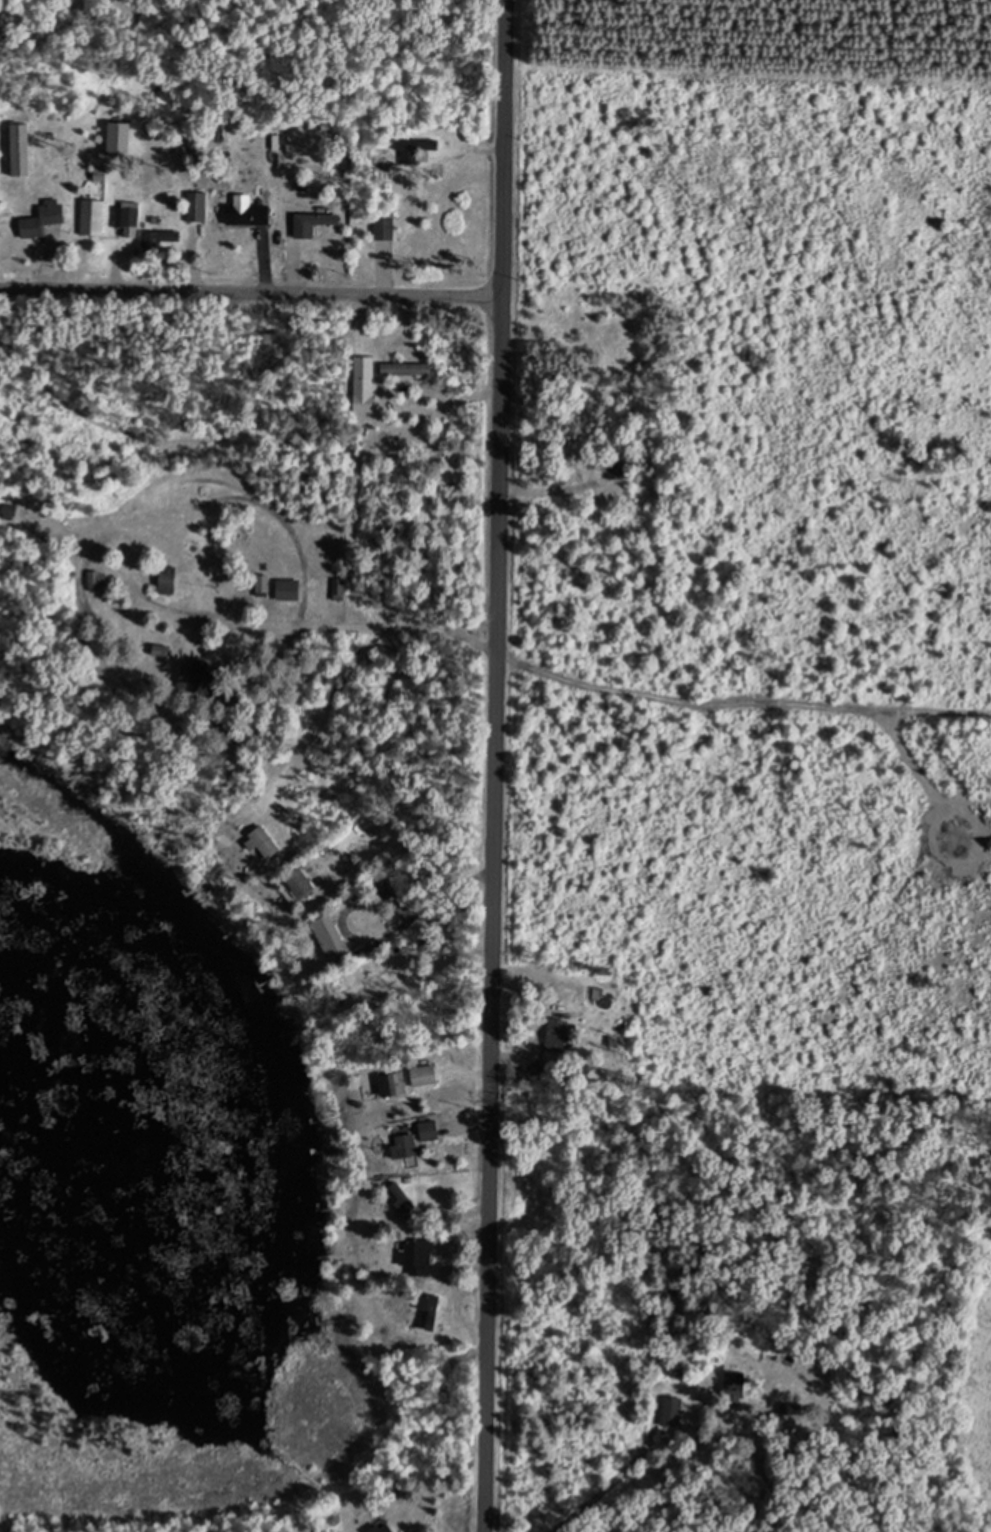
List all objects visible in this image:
building: (200, 205)
building: (130, 215)
building: (95, 216)
building: (46, 218)
building: (265, 218)
building: (317, 222)
building: (164, 236)
road: (251, 290)
building: (410, 368)
building: (367, 383)
building: (617, 468)
building: (101, 578)
building: (171, 579)
building: (292, 589)
building: (342, 589)
road: (362, 626)
building: (165, 650)
building: (210, 673)
road: (496, 766)
building: (270, 841)
building: (561, 1025)
building: (429, 1076)
building: (399, 1084)
building: (674, 1412)
road: (640, 1458)
building: (382, 1528)

